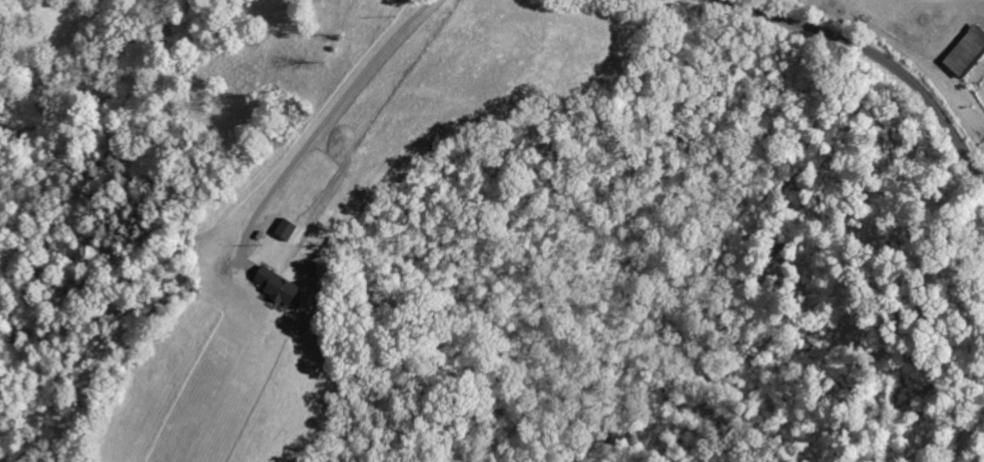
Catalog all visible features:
road: (871, 52)
building: (969, 52)
road: (321, 124)
building: (291, 229)
building: (284, 286)

